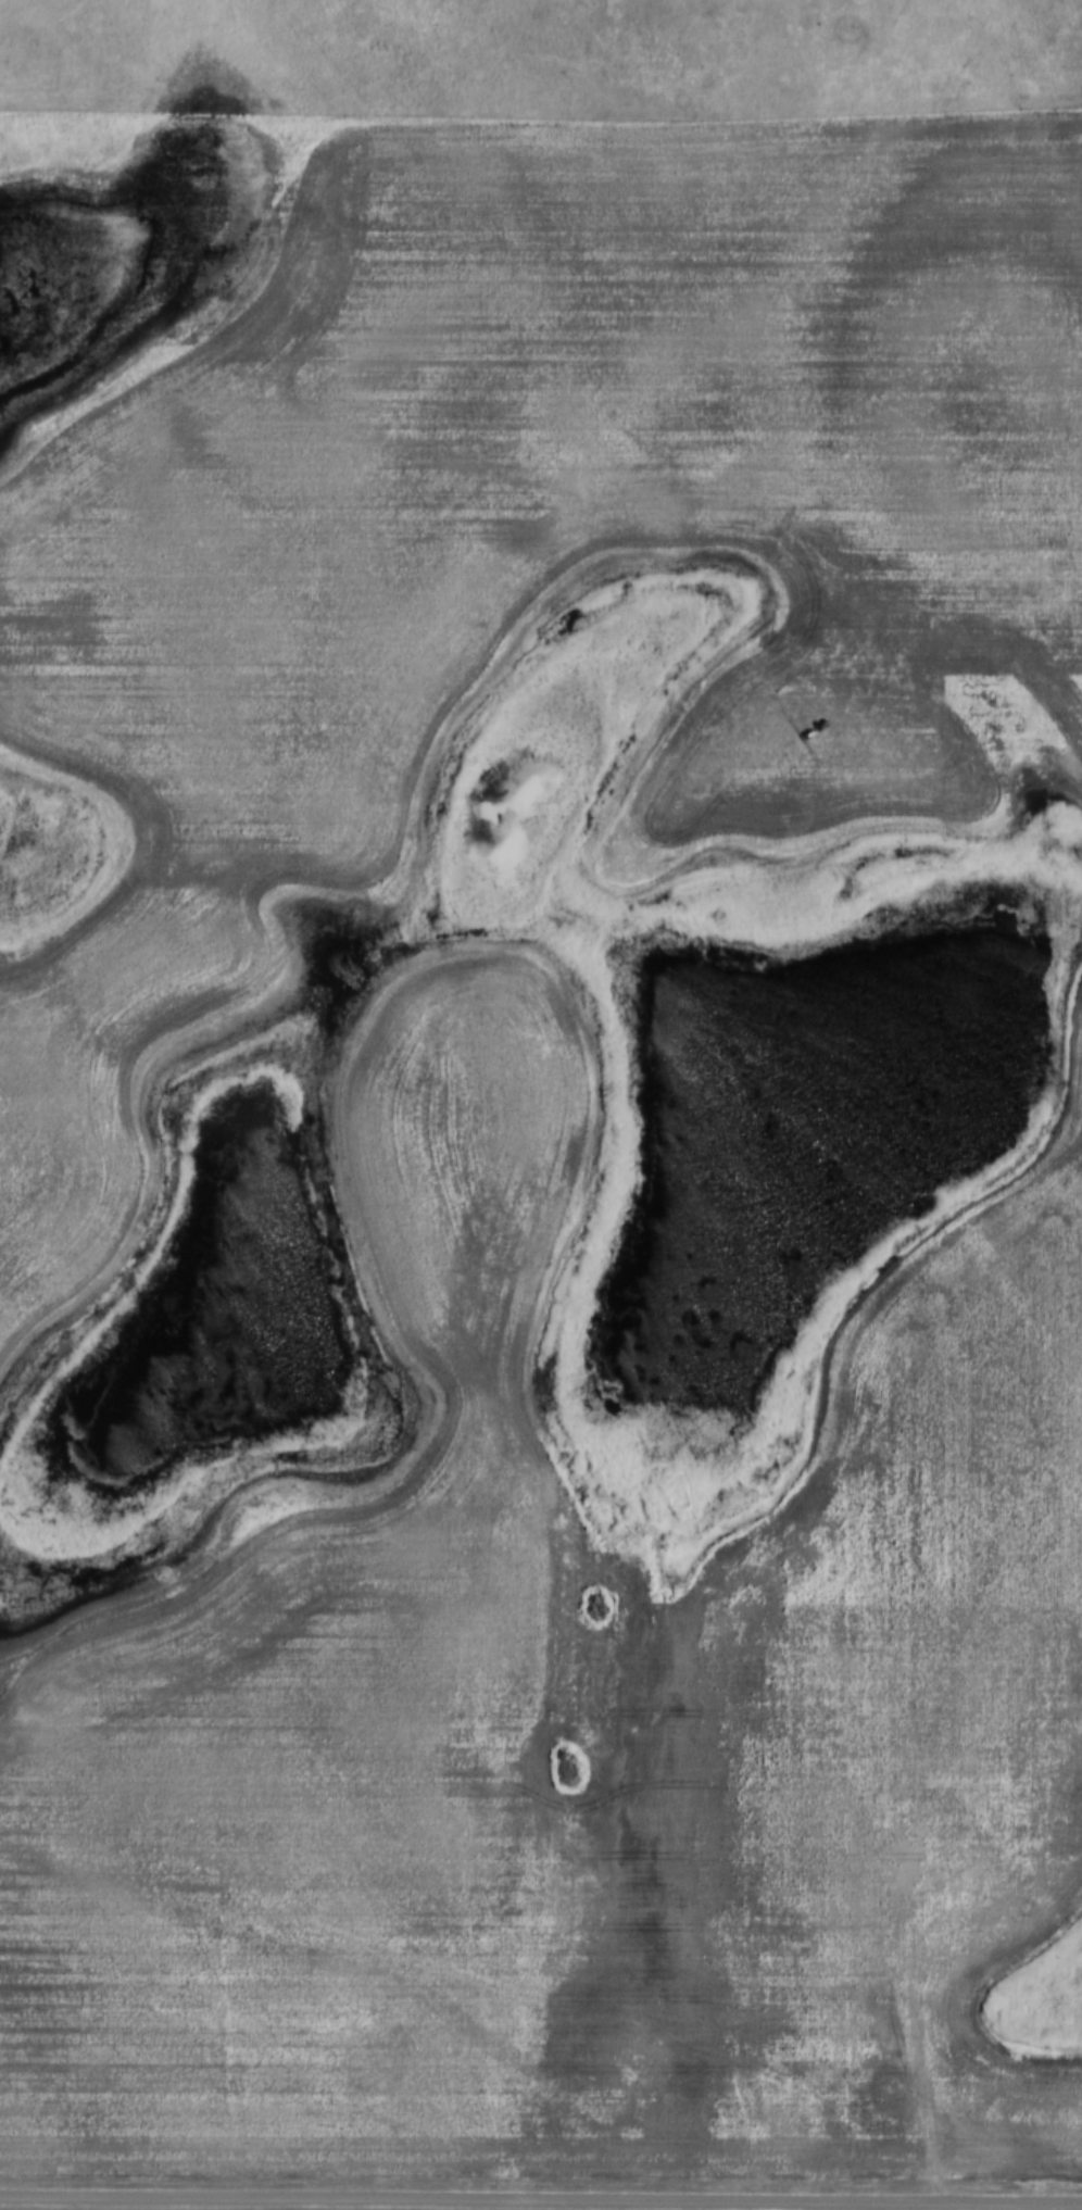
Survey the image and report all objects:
road: (540, 2200)

